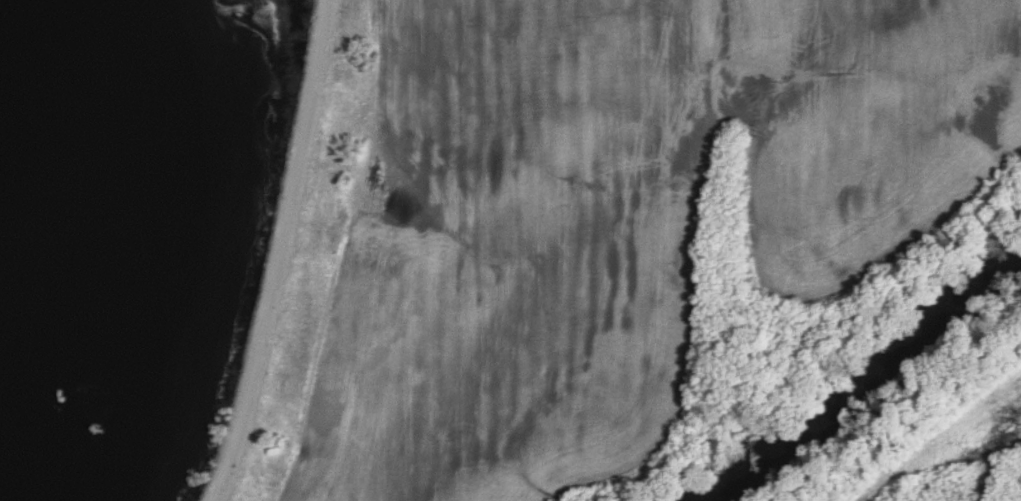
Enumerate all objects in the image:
river: (878, 386)

